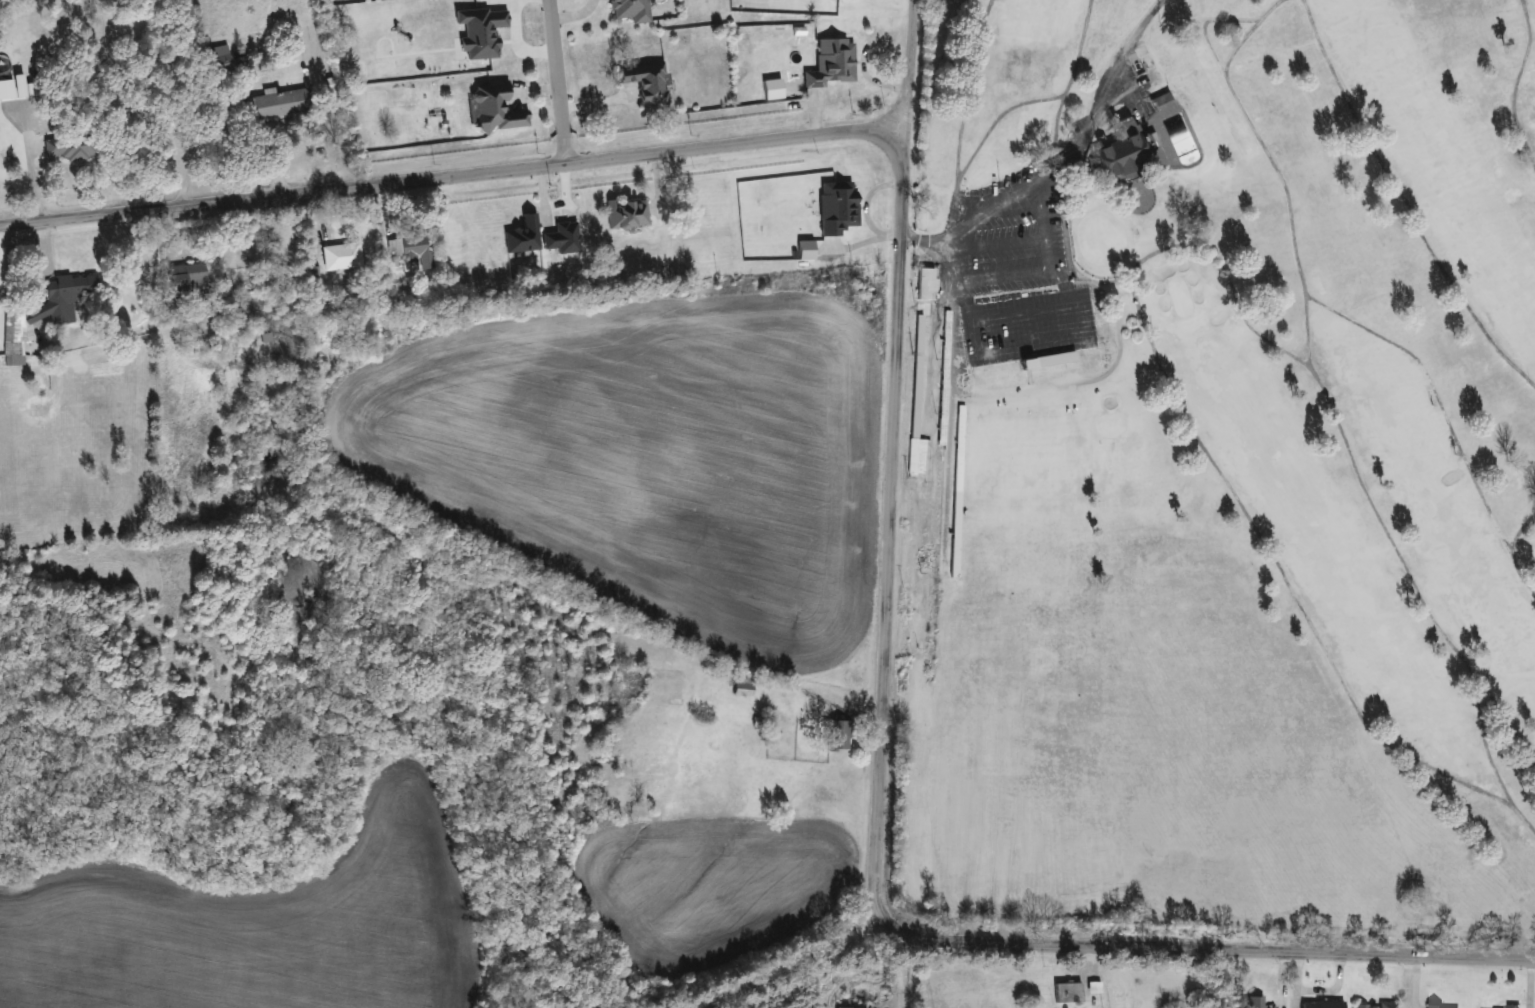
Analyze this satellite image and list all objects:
building: (631, 10)
building: (217, 59)
building: (832, 63)
road: (907, 63)
building: (647, 81)
road: (556, 82)
building: (12, 87)
building: (1160, 100)
building: (281, 103)
building: (496, 109)
building: (71, 146)
building: (1125, 152)
road: (31, 175)
road: (452, 176)
road: (1018, 195)
building: (837, 207)
building: (627, 214)
building: (524, 236)
building: (411, 252)
building: (341, 256)
building: (188, 277)
building: (927, 285)
building: (44, 313)
building: (1049, 360)
building: (945, 368)
building: (958, 491)
building: (911, 495)
building: (908, 567)
building: (665, 687)
building: (742, 688)
building: (838, 735)
road: (873, 852)
road: (792, 962)
building: (1068, 992)
building: (1255, 1002)
building: (1323, 1004)
building: (1375, 1005)
building: (1435, 1006)
building: (1512, 1006)

